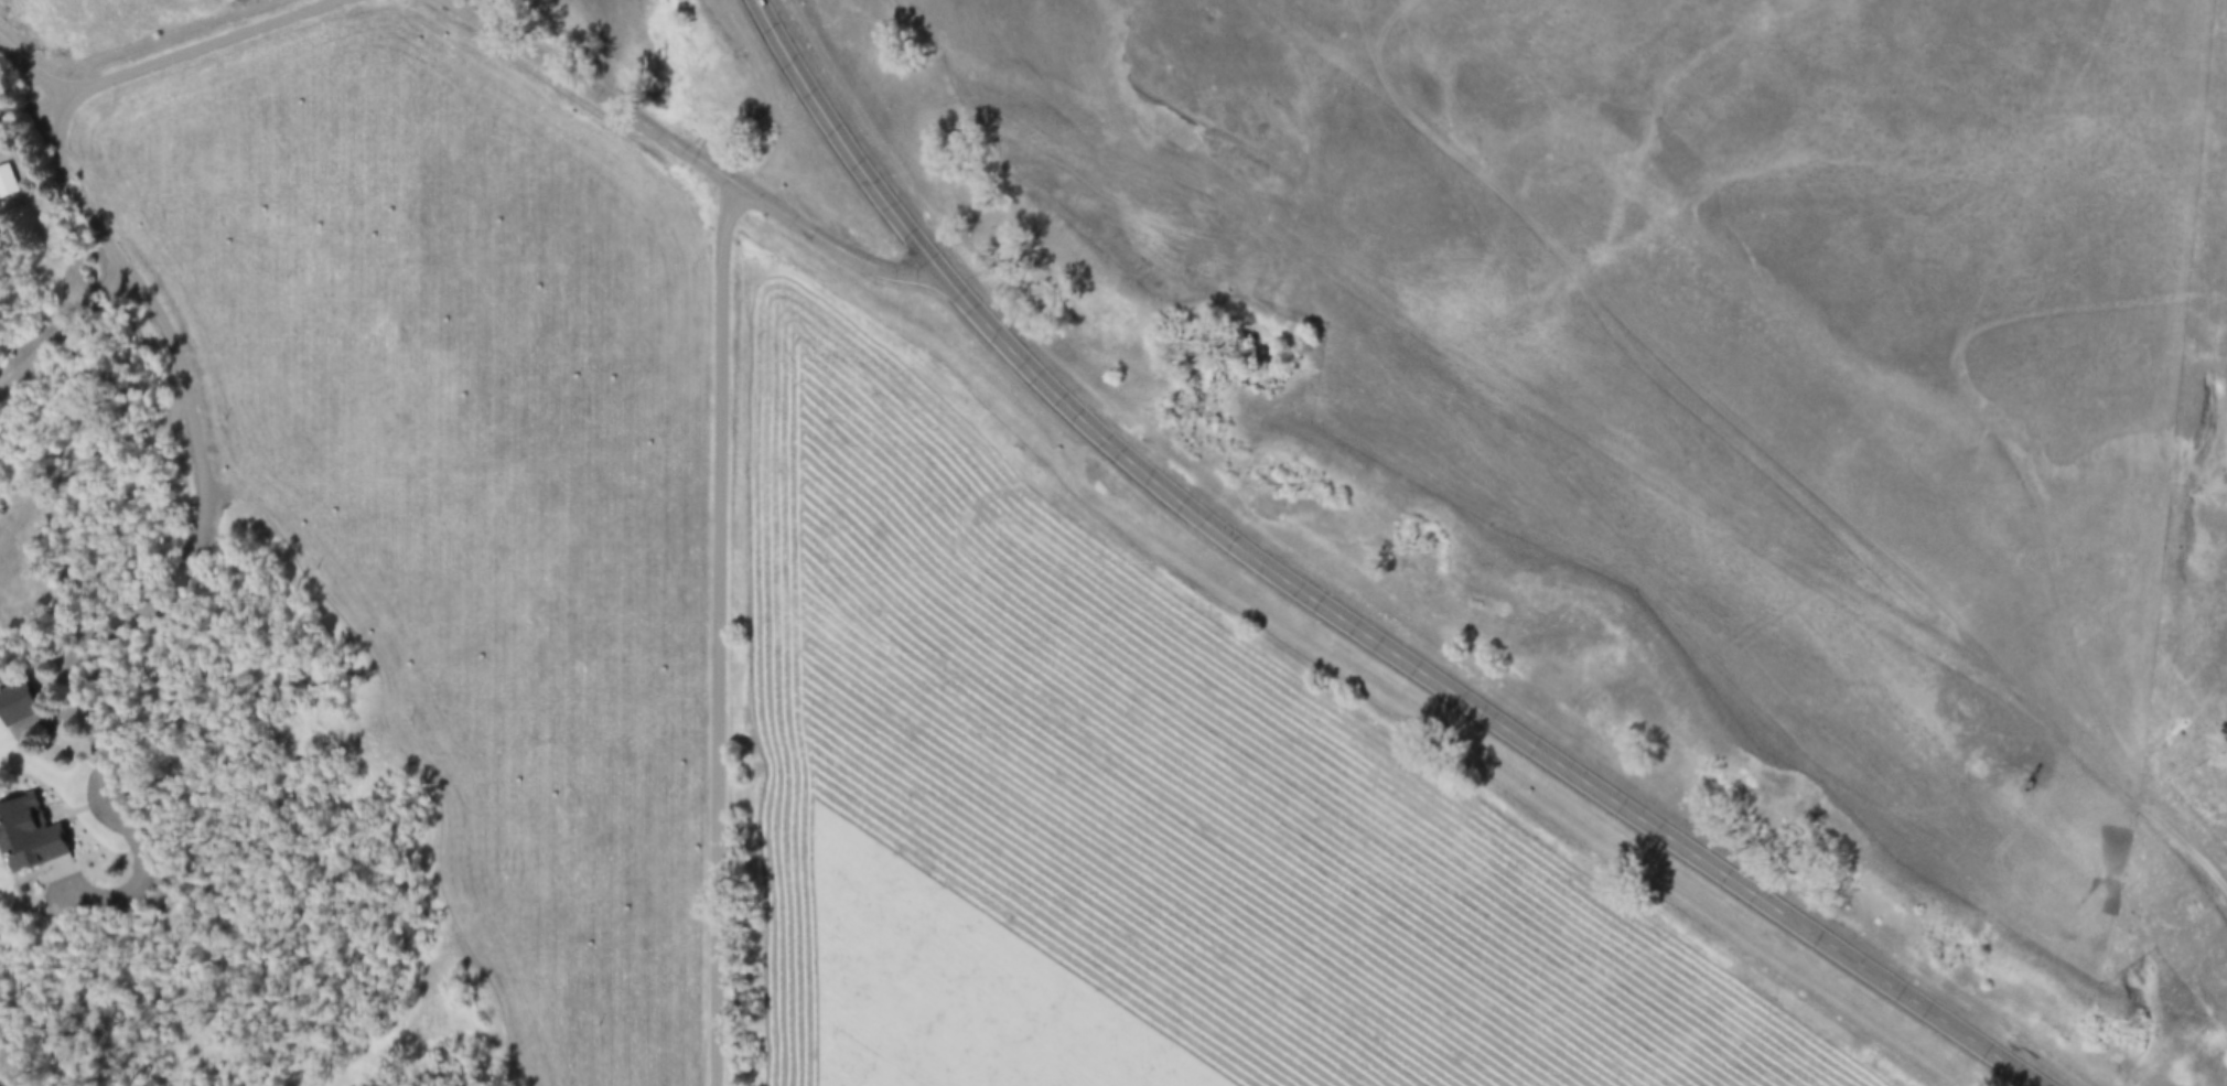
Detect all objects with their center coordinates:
road: (187, 58)
road: (835, 142)
road: (680, 150)
building: (7, 183)
road: (185, 389)
road: (722, 633)
road: (1451, 708)
building: (28, 836)

